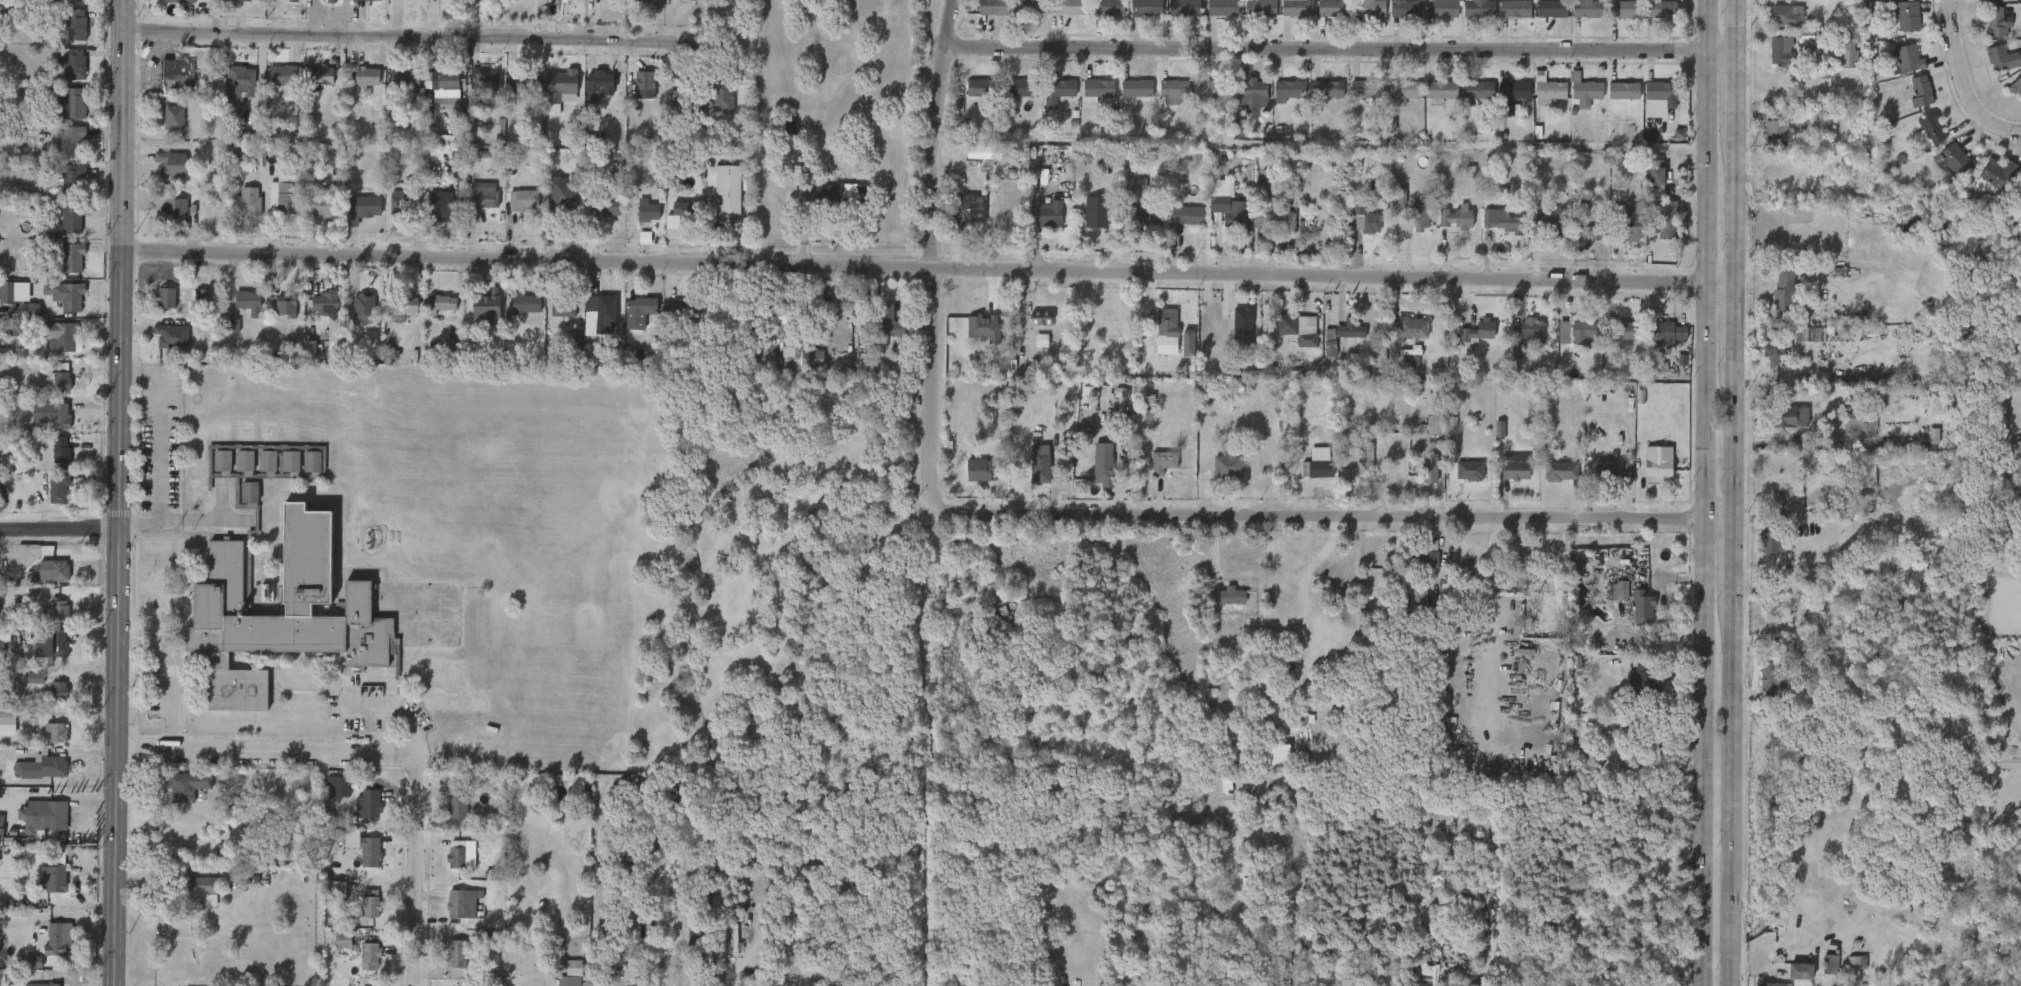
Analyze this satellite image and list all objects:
building: (243, 0)
building: (292, 0)
building: (331, 0)
building: (358, 0)
building: (643, 0)
building: (70, 1)
building: (181, 1)
building: (1990, 1)
building: (330, 2)
building: (994, 7)
building: (1032, 7)
building: (1070, 7)
building: (1109, 7)
building: (1146, 7)
building: (1184, 7)
building: (1294, 7)
building: (1369, 7)
building: (1219, 8)
building: (1258, 8)
building: (1331, 8)
building: (1406, 8)
building: (1441, 8)
building: (1475, 8)
building: (1513, 9)
building: (1585, 9)
building: (1622, 10)
building: (1659, 10)
building: (1547, 11)
building: (1787, 15)
building: (1908, 15)
building: (1994, 22)
building: (76, 25)
road: (394, 37)
building: (1808, 39)
building: (1782, 48)
building: (1845, 48)
road: (1341, 51)
building: (1908, 59)
building: (2001, 59)
building: (73, 65)
building: (178, 74)
gas station: (178, 74)
building: (286, 76)
building: (322, 76)
building: (674, 76)
building: (368, 77)
road: (1968, 80)
building: (407, 81)
building: (646, 81)
building: (562, 84)
building: (239, 85)
building: (525, 85)
building: (599, 85)
building: (1055, 86)
building: (2015, 86)
building: (488, 87)
building: (982, 87)
building: (1137, 87)
building: (447, 88)
building: (1024, 88)
building: (1213, 88)
building: (1289, 88)
building: (1366, 88)
building: (1441, 88)
building: (1097, 89)
building: (1328, 89)
building: (1587, 89)
building: (1174, 90)
building: (1248, 90)
building: (1478, 90)
building: (1624, 90)
building: (1660, 90)
building: (1550, 91)
building: (1922, 91)
building: (1402, 92)
building: (1512, 94)
building: (722, 96)
building: (685, 100)
building: (76, 103)
building: (172, 117)
building: (1932, 127)
building: (1773, 131)
building: (789, 132)
building: (1679, 134)
building: (68, 140)
building: (446, 141)
building: (983, 152)
building: (456, 157)
building: (1952, 159)
building: (173, 165)
building: (1656, 171)
building: (1996, 174)
building: (73, 179)
building: (727, 190)
building: (1129, 191)
building: (1220, 191)
building: (844, 196)
building: (283, 197)
building: (483, 200)
building: (522, 200)
building: (364, 203)
building: (243, 204)
building: (327, 206)
building: (403, 206)
building: (441, 206)
building: (611, 207)
building: (969, 208)
building: (177, 209)
building: (685, 209)
building: (649, 212)
building: (1097, 212)
building: (1237, 215)
building: (1050, 216)
building: (1146, 216)
building: (1186, 216)
building: (1418, 216)
building: (1457, 218)
building: (73, 219)
building: (1277, 219)
building: (1634, 219)
building: (1503, 220)
building: (1664, 220)
building: (1367, 223)
building: (1547, 226)
building: (1589, 232)
road: (930, 243)
building: (73, 257)
road: (929, 269)
building: (14, 292)
building: (1783, 292)
building: (71, 295)
building: (201, 297)
building: (164, 298)
building: (488, 299)
building: (248, 301)
building: (327, 301)
building: (443, 302)
building: (523, 303)
building: (286, 304)
building: (404, 304)
building: (564, 307)
building: (642, 307)
building: (364, 309)
building: (30, 310)
building: (602, 310)
building: (683, 312)
building: (775, 320)
building: (888, 322)
building: (1041, 322)
building: (1165, 322)
building: (1287, 324)
building: (12, 326)
building: (1348, 327)
building: (1409, 327)
building: (983, 328)
building: (335, 329)
building: (1243, 329)
building: (1531, 329)
building: (1616, 330)
building: (1478, 331)
building: (1585, 332)
building: (1665, 332)
building: (1564, 333)
building: (63, 336)
building: (173, 336)
building: (1188, 343)
building: (1774, 347)
building: (310, 353)
building: (807, 359)
building: (61, 377)
building: (62, 416)
building: (1785, 416)
building: (1434, 424)
building: (1858, 424)
building: (1499, 430)
building: (221, 432)
building: (243, 432)
building: (266, 432)
building: (289, 433)
parking lot: (157, 439)
building: (60, 448)
road: (157, 448)
building: (1363, 459)
building: (222, 461)
building: (243, 461)
building: (266, 461)
building: (289, 461)
building: (310, 461)
building: (1163, 463)
building: (1039, 464)
building: (1228, 466)
building: (1103, 467)
building: (1656, 467)
building: (1315, 468)
building: (984, 469)
building: (1427, 469)
building: (1513, 469)
building: (191, 470)
building: (1468, 470)
building: (1558, 470)
building: (1603, 472)
building: (59, 487)
building: (248, 491)
road: (1702, 492)
road: (1737, 492)
road: (117, 493)
building: (191, 494)
building: (1837, 507)
road: (1325, 517)
road: (200, 520)
road: (58, 530)
building: (1772, 536)
building: (1421, 557)
building: (1580, 565)
building: (55, 570)
park: (774, 575)
building: (1227, 596)
building: (1415, 599)
building: (1643, 605)
building: (218, 606)
building: (57, 612)
building: (1434, 621)
building: (53, 643)
building: (1796, 649)
building: (1, 653)
building: (424, 674)
building: (1770, 675)
building: (451, 677)
building: (35, 678)
road: (171, 679)
building: (1643, 681)
building: (59, 691)
building: (433, 699)
building: (477, 704)
road: (394, 715)
building: (6, 721)
building: (57, 732)
building: (1639, 743)
road: (264, 753)
building: (1276, 763)
building: (41, 768)
building: (189, 786)
building: (341, 787)
building: (370, 804)
building: (458, 804)
building: (41, 815)
building: (1, 826)
building: (821, 845)
building: (371, 852)
building: (459, 854)
road: (412, 870)
building: (56, 875)
building: (335, 890)
building: (201, 891)
building: (368, 902)
building: (461, 902)
building: (704, 903)
building: (54, 938)
building: (343, 940)
building: (700, 942)
building: (458, 954)
building: (369, 956)
building: (32, 962)
building: (1853, 963)
building: (1830, 965)
building: (574, 968)
building: (1802, 971)
building: (1427, 975)
building: (568, 981)
building: (1771, 984)
building: (44, 985)

